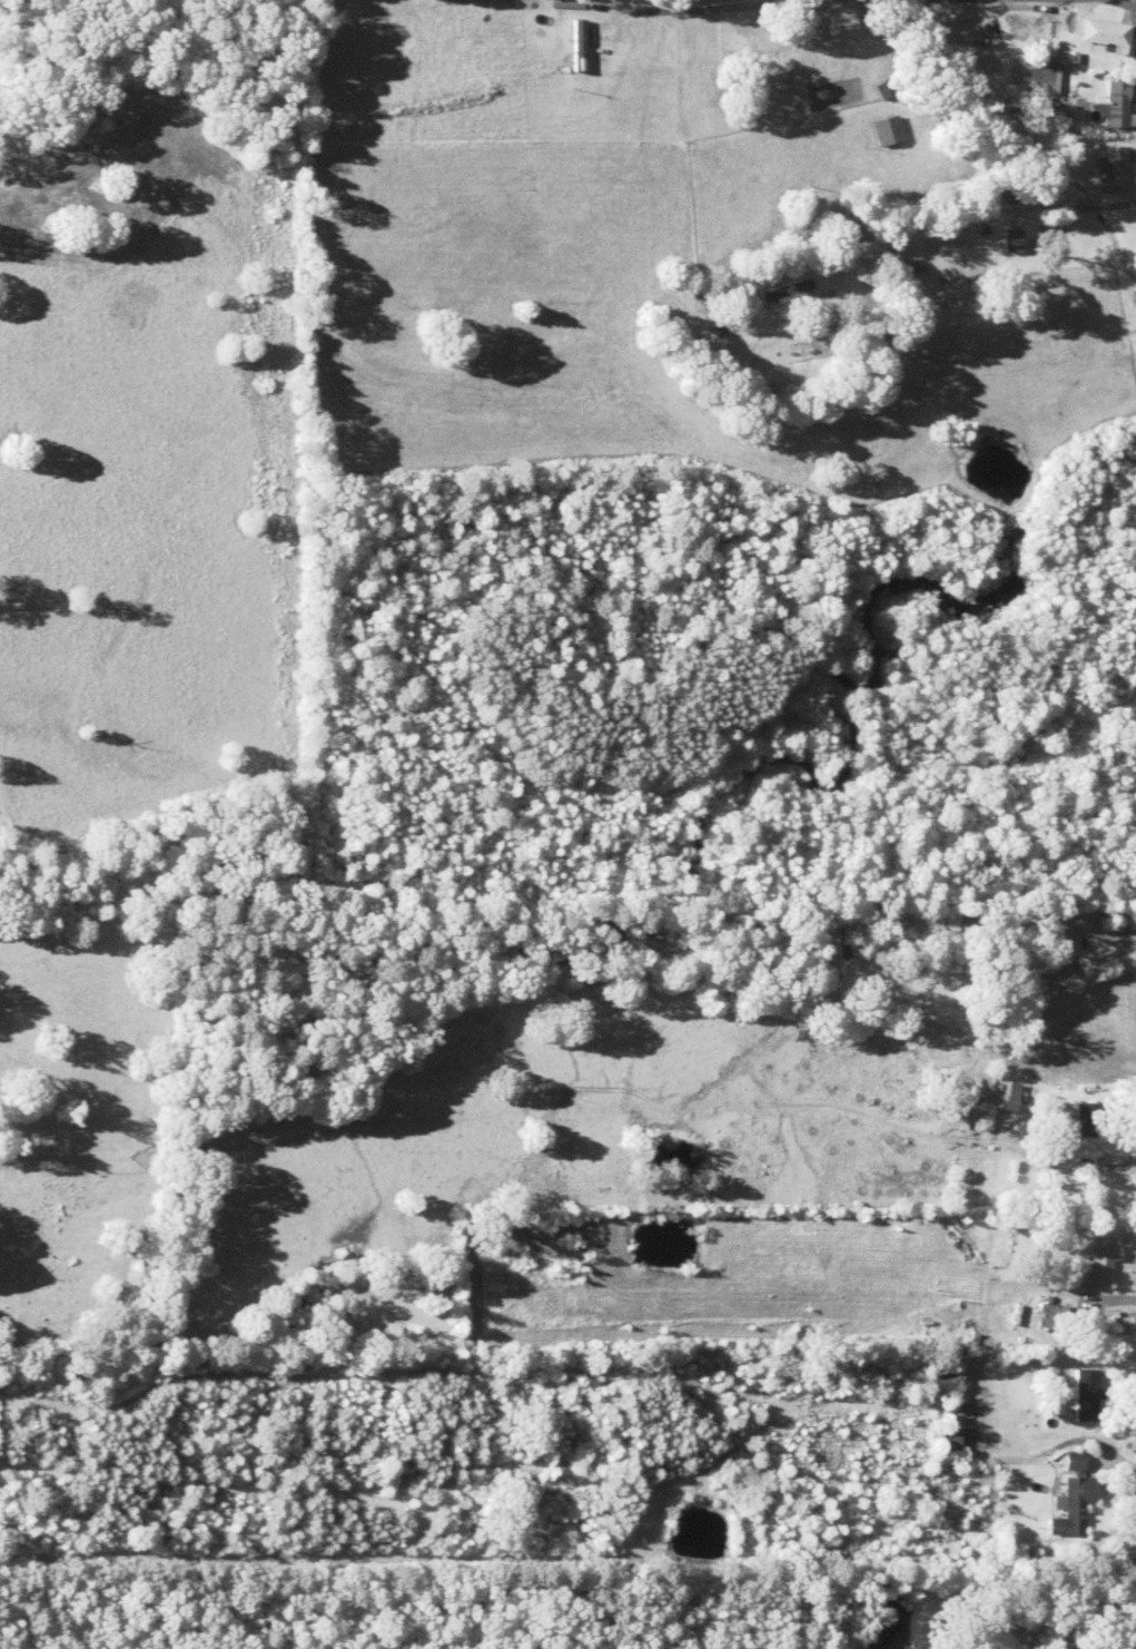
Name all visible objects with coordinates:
building: (1100, 32)
building: (1113, 104)
building: (882, 130)
building: (1109, 168)
building: (1006, 239)
building: (1084, 943)
building: (998, 1100)
building: (1083, 1119)
building: (1097, 1264)
building: (1047, 1316)
building: (940, 1382)
building: (1070, 1390)
building: (946, 1429)
building: (1069, 1496)

